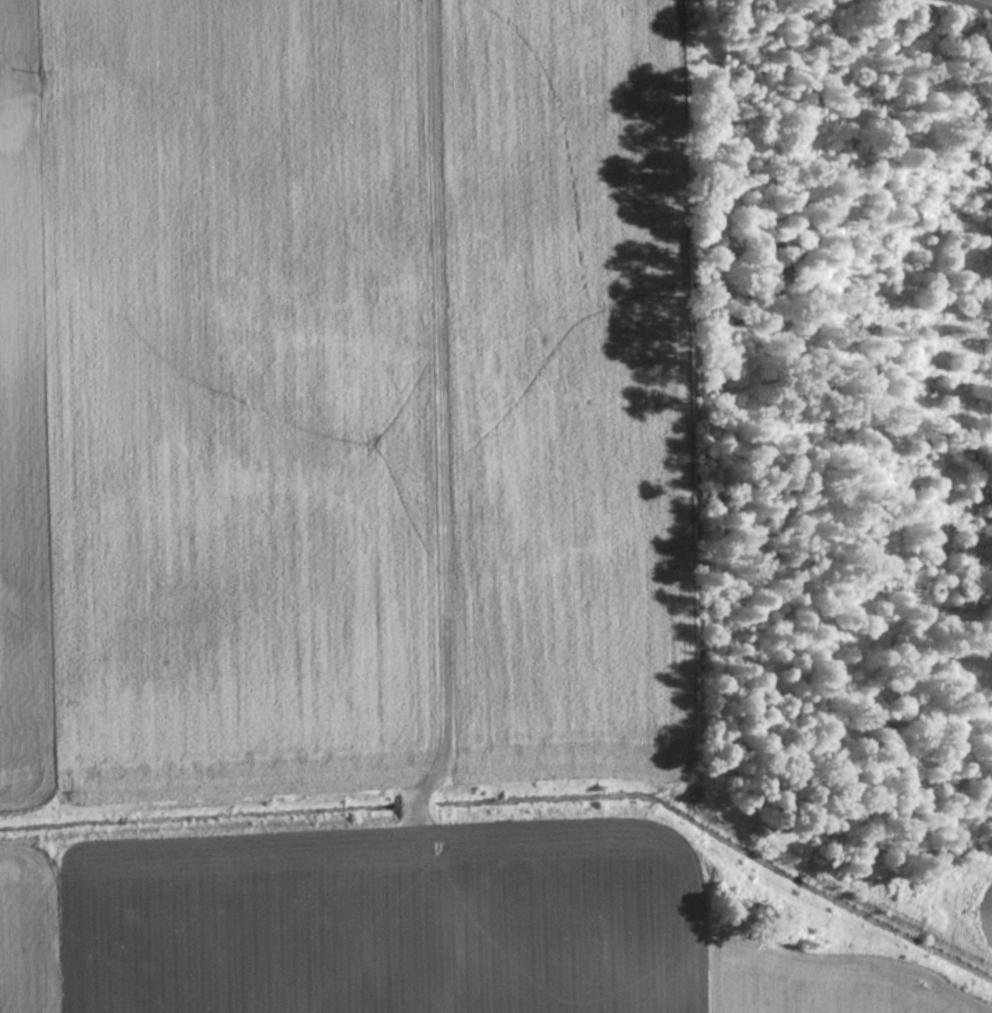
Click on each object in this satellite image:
road: (941, 823)

